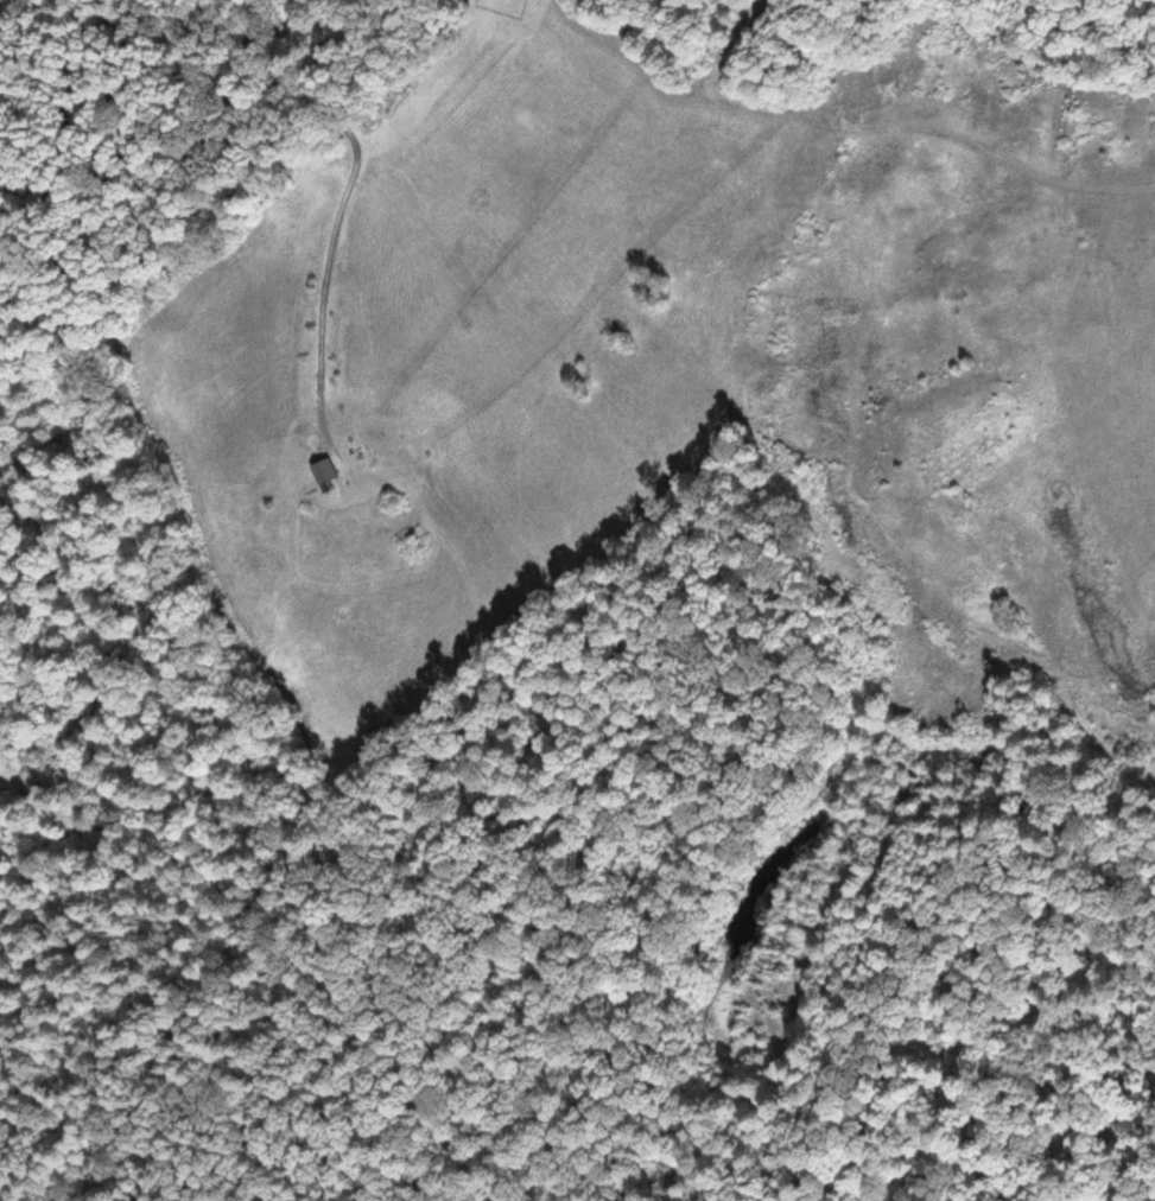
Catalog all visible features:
building: (324, 470)

